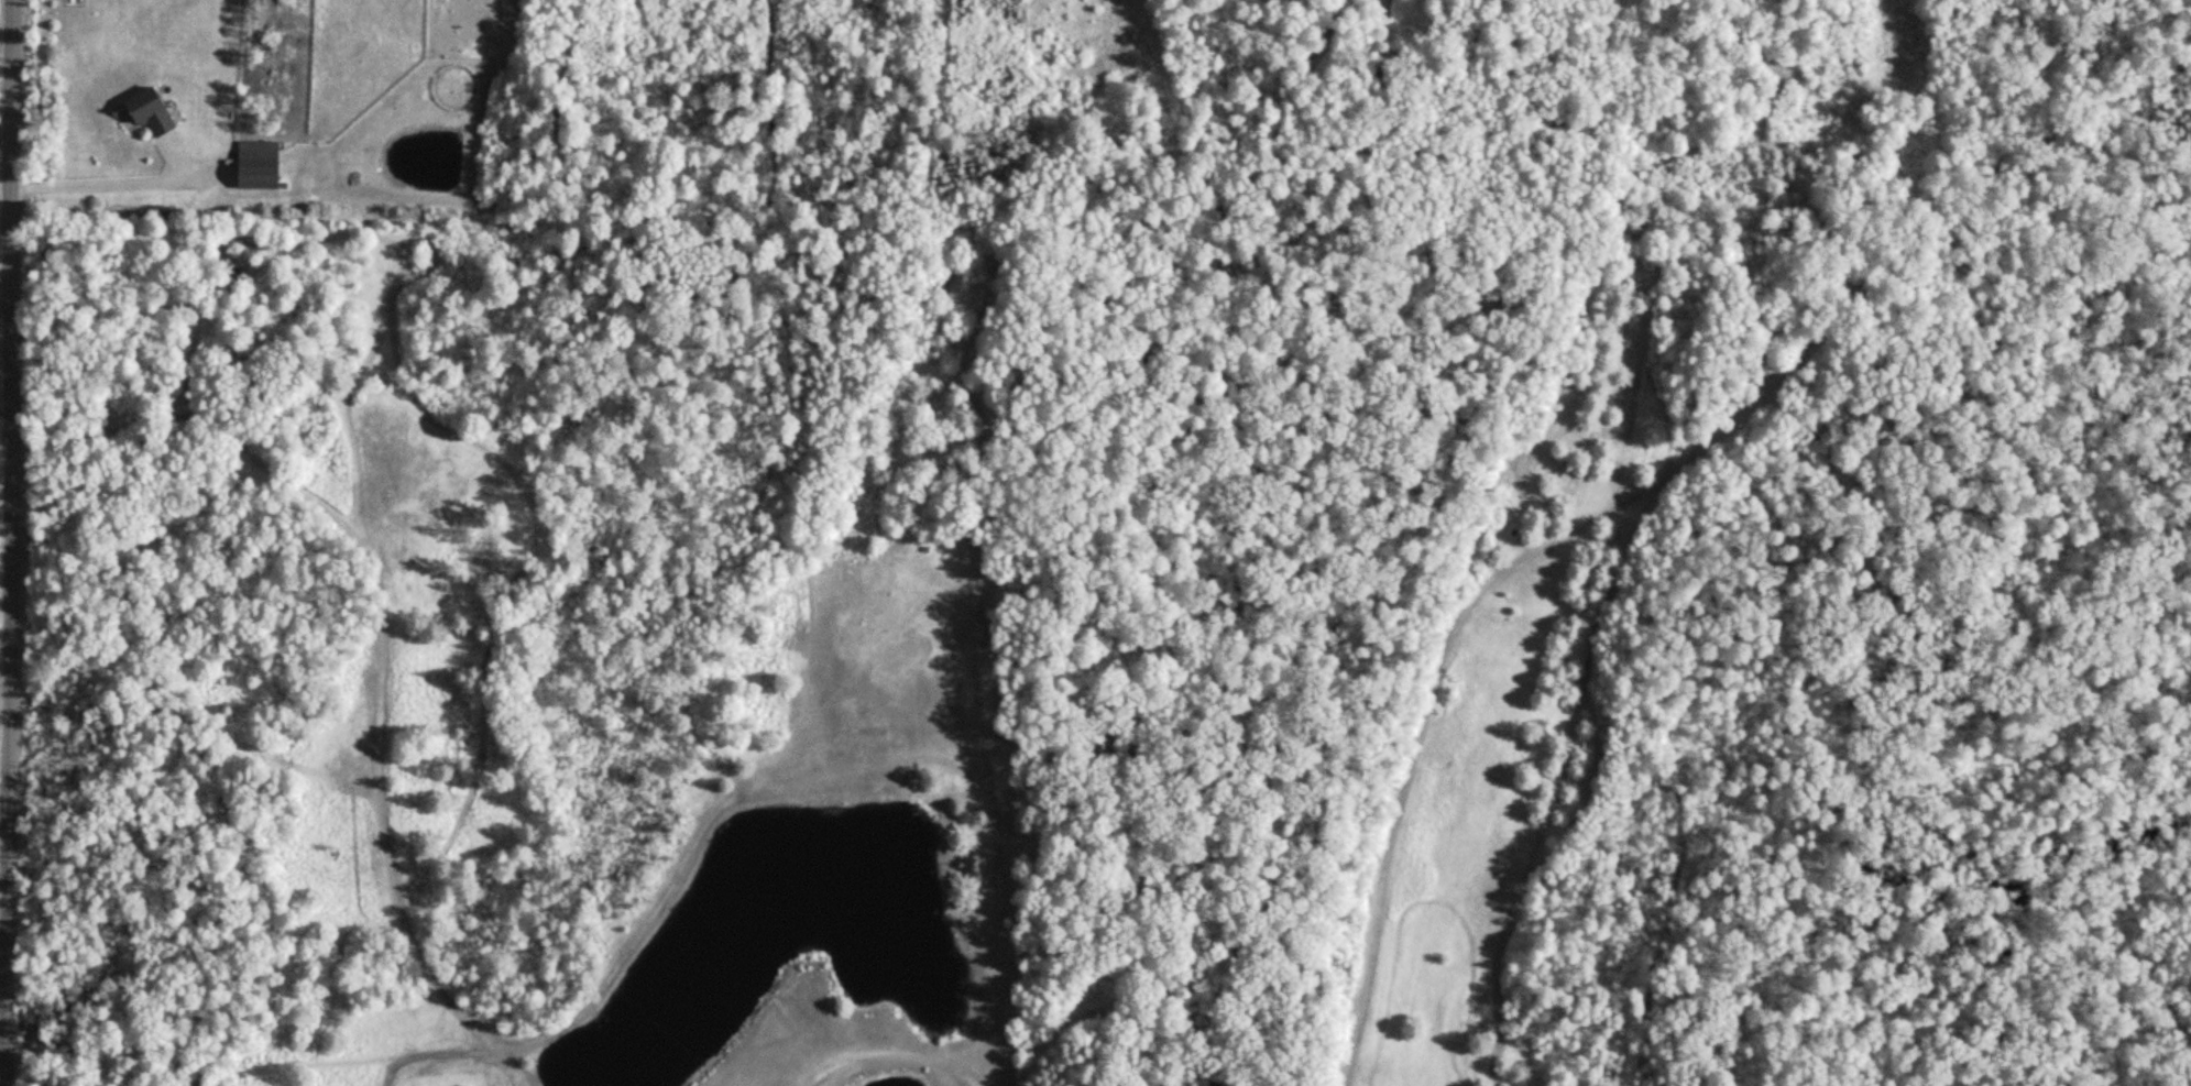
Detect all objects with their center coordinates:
building: (156, 112)
road: (194, 175)
road: (111, 182)
road: (11, 542)

